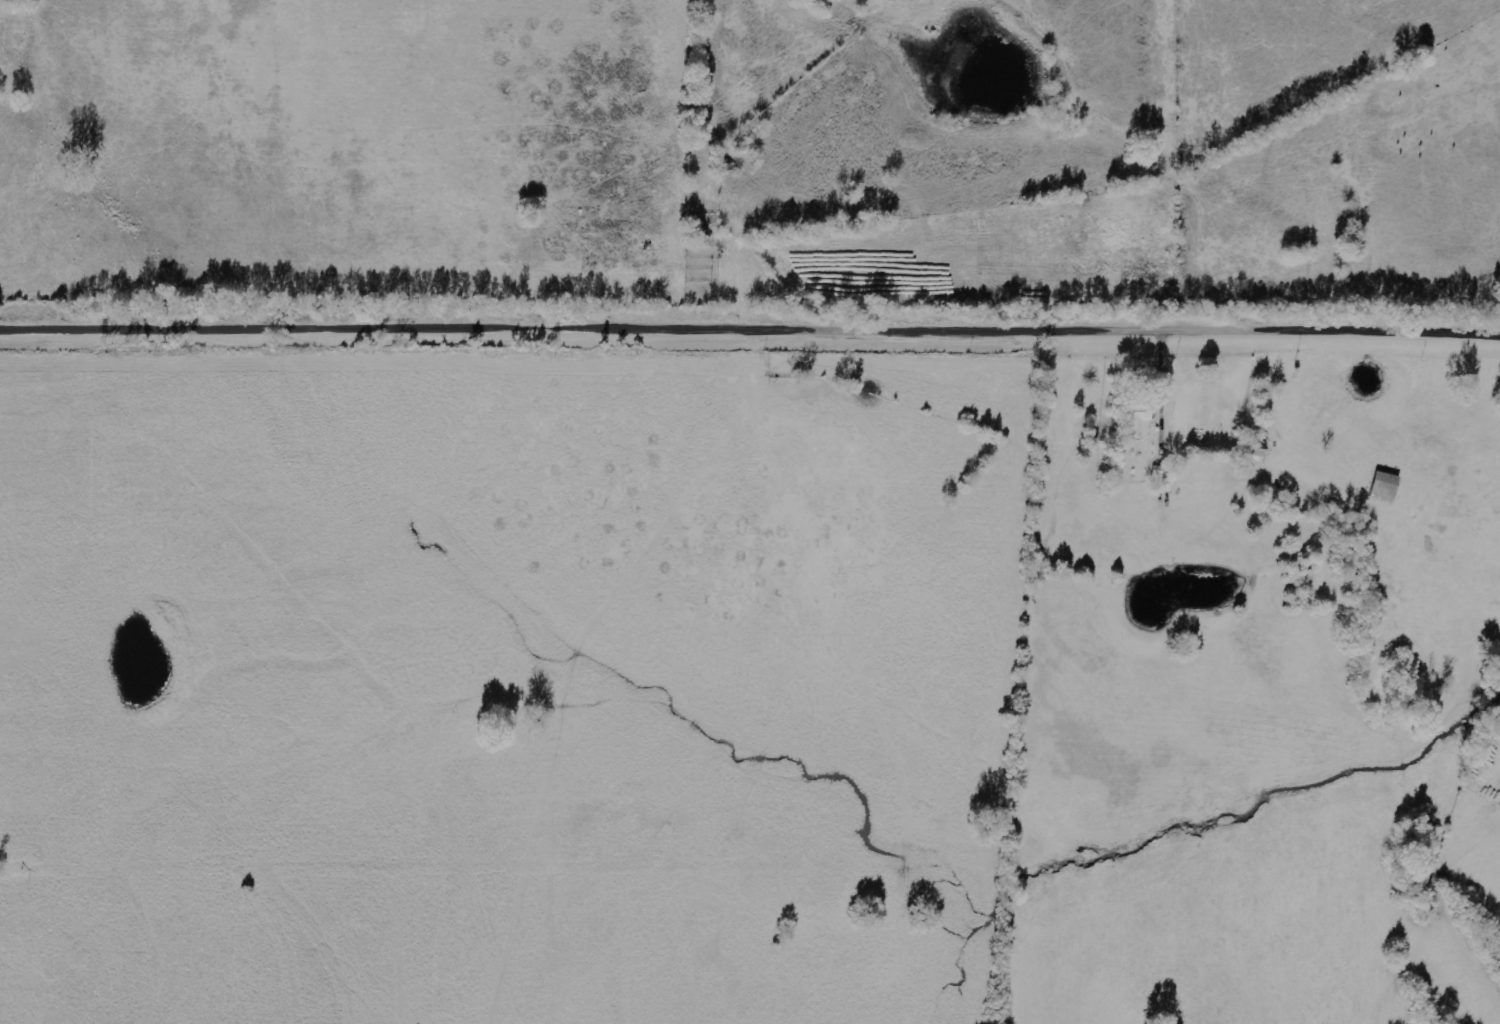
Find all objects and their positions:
road: (750, 332)
building: (1383, 487)

